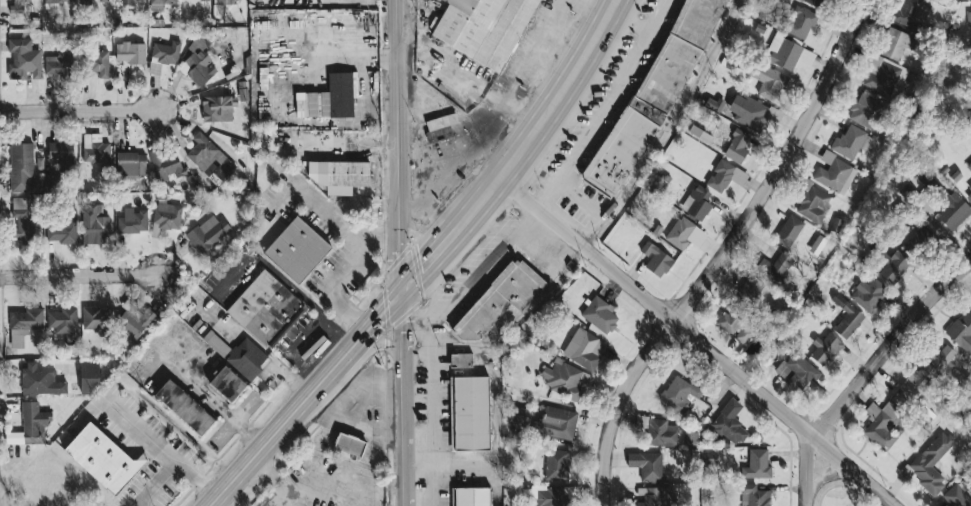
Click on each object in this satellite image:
building: (93, 0)
building: (199, 0)
building: (56, 1)
building: (159, 1)
building: (122, 2)
building: (810, 2)
building: (14, 6)
building: (908, 12)
building: (968, 18)
building: (798, 22)
building: (481, 28)
building: (891, 44)
building: (127, 52)
building: (163, 52)
building: (786, 53)
road: (549, 56)
building: (16, 59)
road: (341, 59)
building: (196, 60)
building: (95, 63)
building: (52, 65)
building: (881, 75)
building: (765, 81)
road: (563, 92)
building: (337, 94)
road: (485, 95)
building: (711, 104)
building: (214, 108)
road: (78, 110)
building: (862, 110)
building: (745, 111)
building: (438, 121)
road: (669, 129)
building: (850, 142)
building: (735, 145)
building: (93, 150)
building: (58, 152)
building: (206, 158)
building: (128, 163)
building: (162, 163)
building: (968, 166)
building: (19, 168)
building: (832, 173)
building: (335, 175)
building: (723, 176)
building: (969, 187)
road: (581, 199)
road: (314, 201)
building: (694, 202)
building: (809, 202)
building: (970, 203)
building: (948, 208)
building: (164, 214)
building: (20, 220)
building: (130, 221)
building: (91, 227)
building: (59, 231)
building: (786, 231)
building: (677, 232)
building: (205, 233)
road: (507, 242)
building: (815, 245)
building: (293, 249)
road: (720, 252)
road: (395, 253)
building: (653, 259)
building: (772, 266)
building: (892, 267)
road: (79, 275)
road: (334, 275)
building: (747, 288)
building: (865, 293)
traffic signals: (395, 298)
building: (263, 309)
building: (597, 314)
building: (843, 317)
building: (92, 318)
building: (61, 321)
building: (131, 322)
building: (21, 325)
building: (732, 327)
building: (960, 333)
road: (696, 340)
road: (354, 342)
building: (582, 349)
building: (822, 349)
building: (243, 358)
building: (457, 360)
building: (939, 364)
building: (795, 370)
road: (866, 372)
building: (85, 377)
building: (563, 379)
building: (37, 381)
building: (223, 384)
building: (676, 394)
road: (206, 396)
building: (179, 408)
building: (466, 413)
building: (517, 415)
road: (233, 420)
building: (556, 422)
building: (727, 423)
building: (879, 425)
building: (27, 426)
building: (658, 433)
building: (345, 445)
road: (161, 447)
road: (337, 447)
building: (97, 458)
building: (929, 463)
building: (754, 464)
building: (553, 465)
building: (643, 465)
road: (827, 475)
road: (155, 483)
building: (751, 495)
building: (954, 496)
building: (468, 497)
building: (546, 497)
building: (650, 497)

